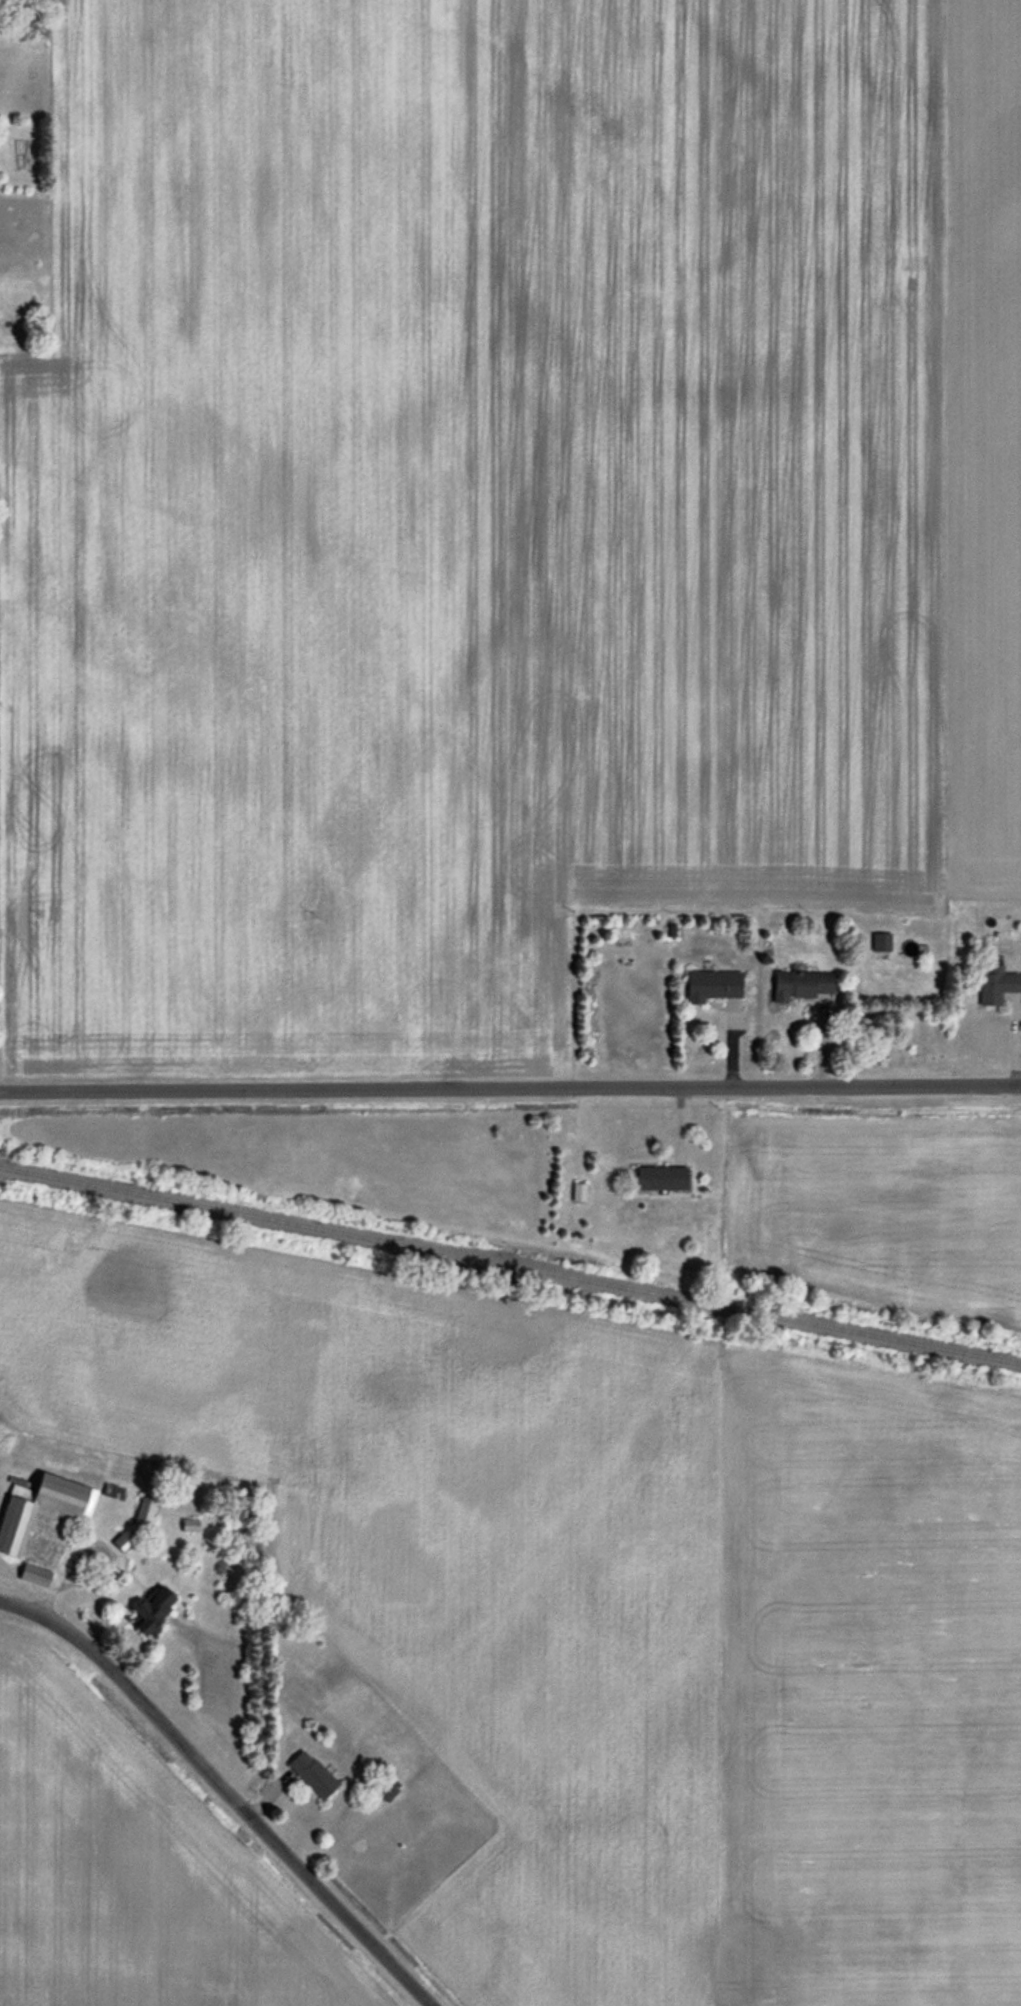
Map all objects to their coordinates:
building: (879, 941)
building: (710, 985)
building: (798, 985)
building: (997, 985)
park: (899, 1048)
road: (510, 1091)
building: (659, 1177)
railway: (510, 1264)
building: (41, 1509)
building: (145, 1511)
building: (189, 1526)
road: (88, 1544)
building: (31, 1575)
building: (149, 1607)
building: (310, 1773)
road: (229, 1789)

